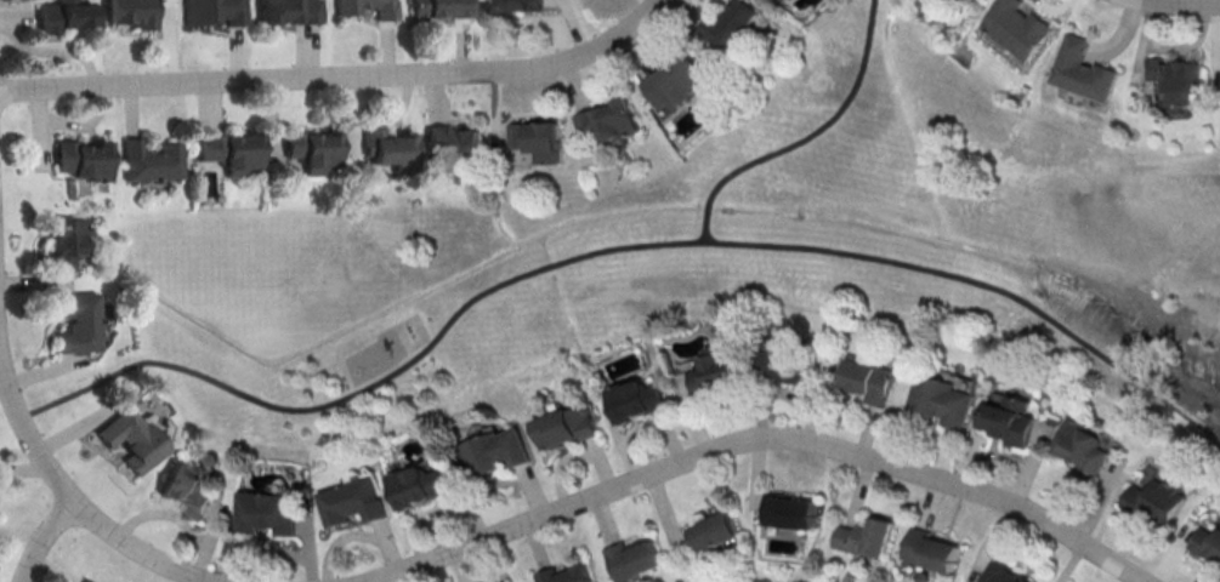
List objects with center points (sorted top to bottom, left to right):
road: (1179, 1)
building: (518, 5)
building: (439, 7)
building: (214, 11)
building: (289, 11)
building: (346, 11)
building: (131, 12)
building: (61, 15)
building: (734, 24)
building: (1020, 27)
building: (1085, 68)
road: (337, 74)
building: (1180, 78)
building: (680, 80)
building: (612, 119)
road: (801, 133)
building: (539, 138)
building: (452, 144)
building: (386, 145)
building: (227, 149)
building: (310, 152)
building: (80, 158)
building: (151, 160)
building: (64, 242)
road: (614, 247)
building: (76, 321)
building: (781, 364)
building: (715, 371)
building: (870, 380)
building: (940, 398)
building: (634, 399)
road: (22, 412)
building: (1011, 420)
building: (566, 424)
road: (751, 436)
building: (127, 439)
building: (1082, 444)
building: (495, 450)
building: (418, 484)
building: (186, 489)
building: (1156, 500)
building: (352, 502)
building: (789, 510)
building: (269, 512)
building: (714, 531)
road: (42, 536)
building: (867, 536)
building: (1207, 541)
road: (129, 549)
building: (932, 549)
building: (632, 558)
building: (1001, 572)
building: (566, 575)
building: (86, 581)

